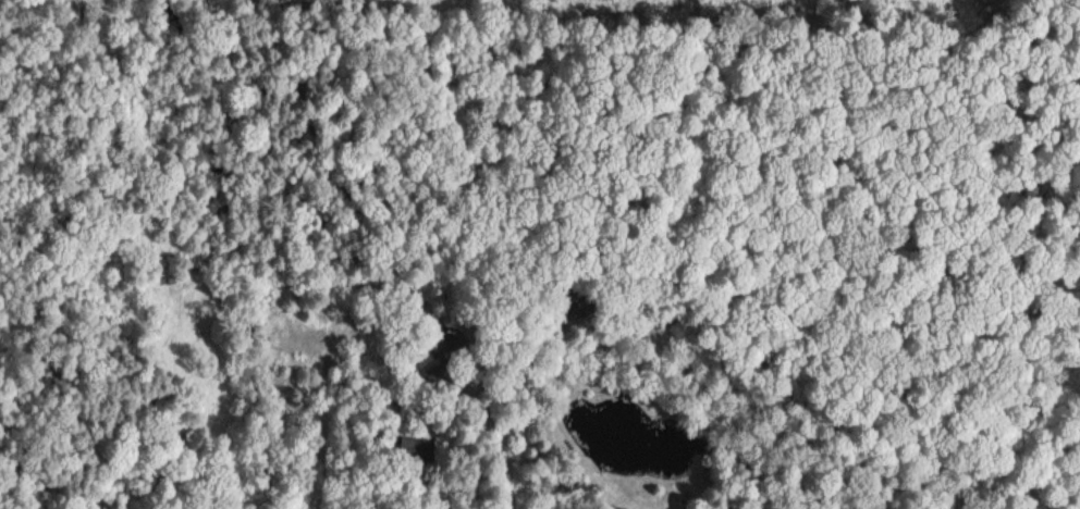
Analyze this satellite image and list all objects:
road: (500, 432)

